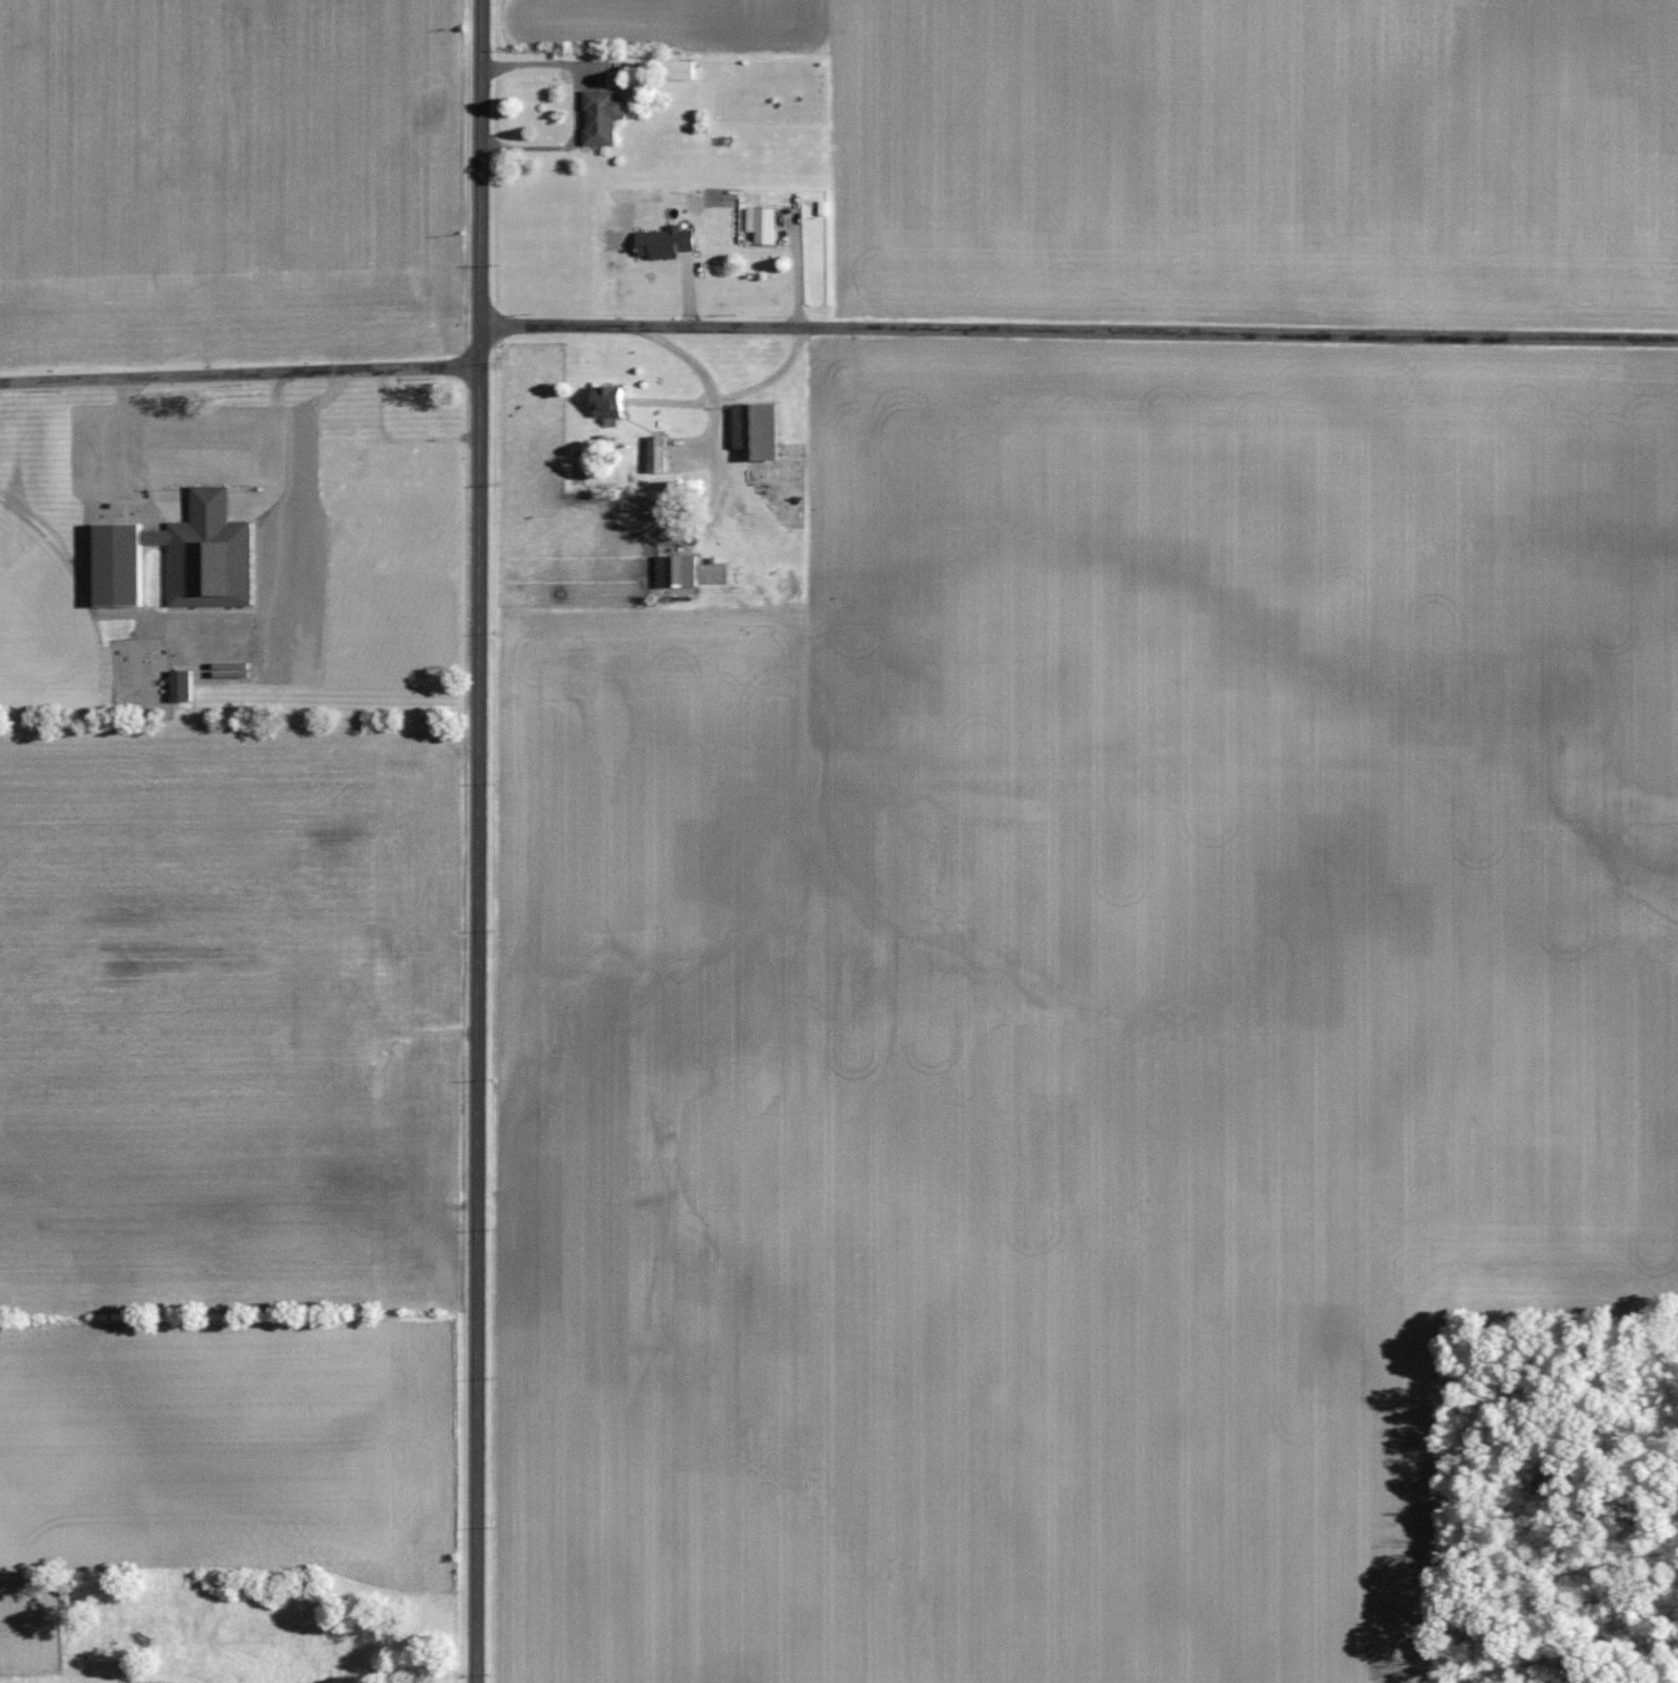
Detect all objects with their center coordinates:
building: (681, 70)
building: (605, 117)
building: (763, 225)
building: (666, 244)
road: (1079, 331)
road: (240, 374)
road: (771, 379)
building: (612, 402)
road: (714, 405)
building: (760, 431)
building: (660, 456)
building: (390, 467)
building: (183, 558)
building: (679, 573)
building: (183, 686)
road: (480, 841)

